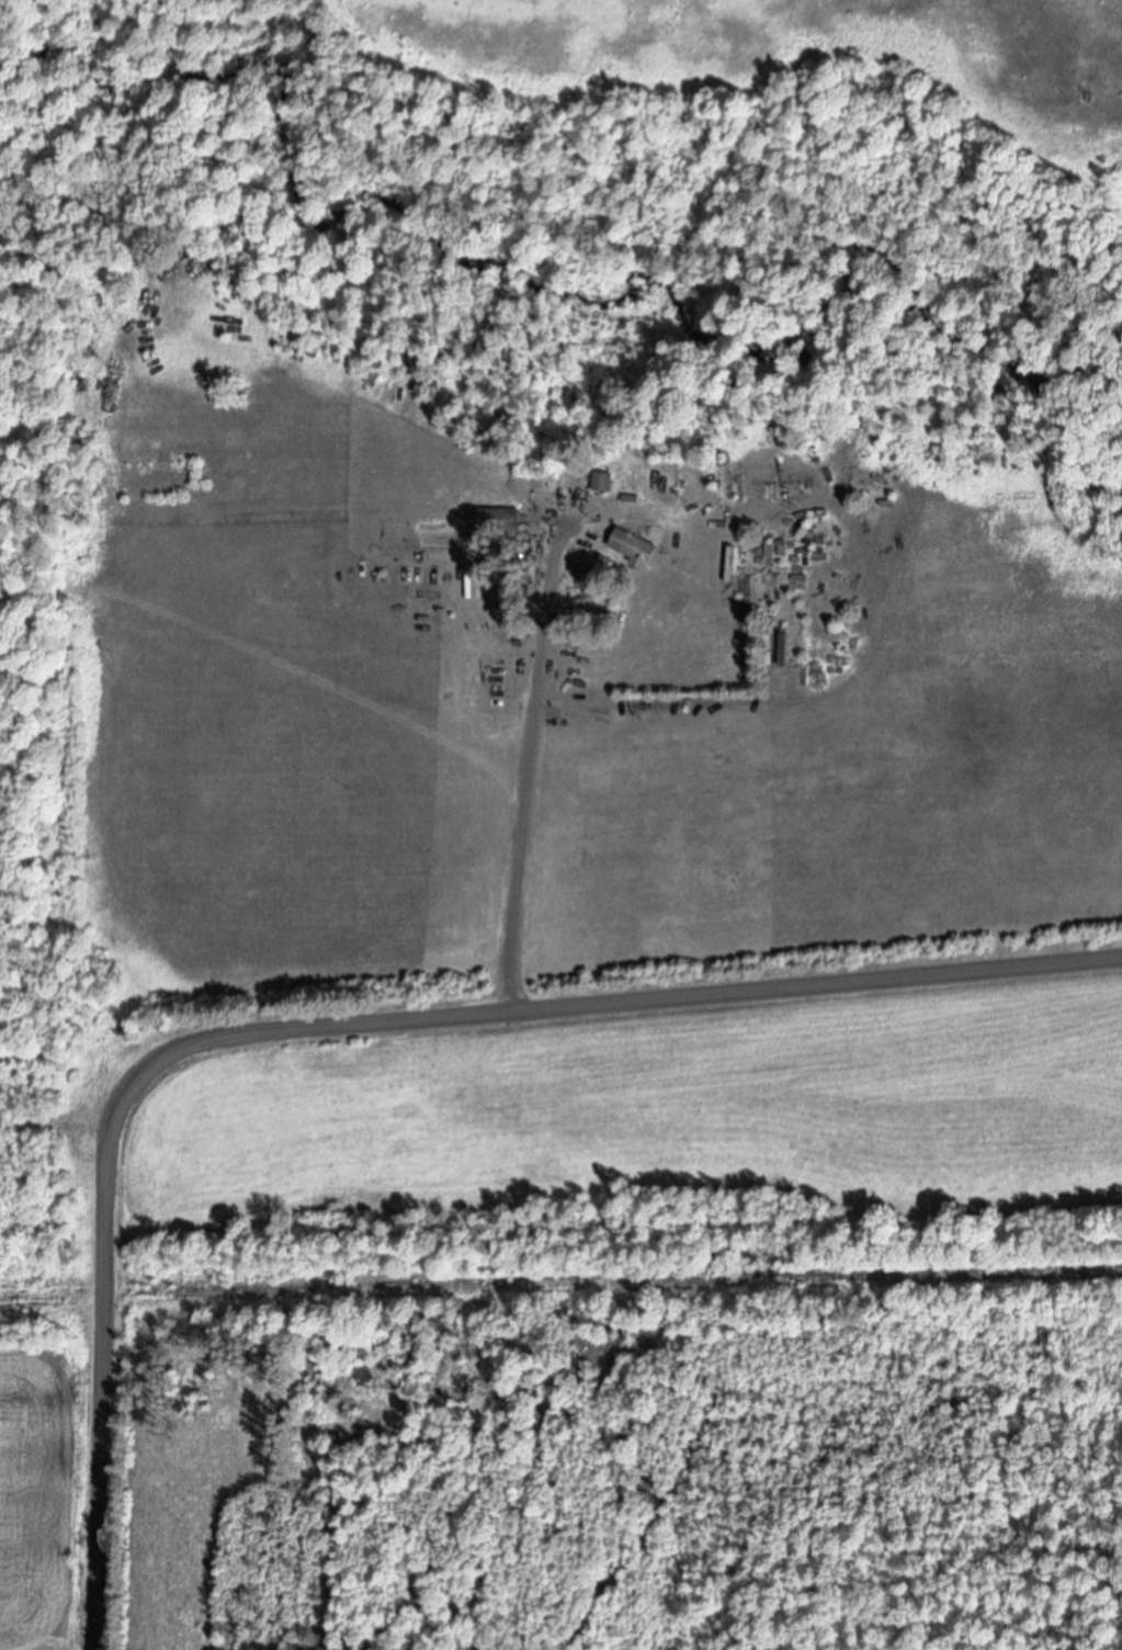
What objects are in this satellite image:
building: (607, 484)
building: (499, 525)
building: (637, 550)
road: (530, 768)
road: (328, 1018)
railway: (560, 1286)

